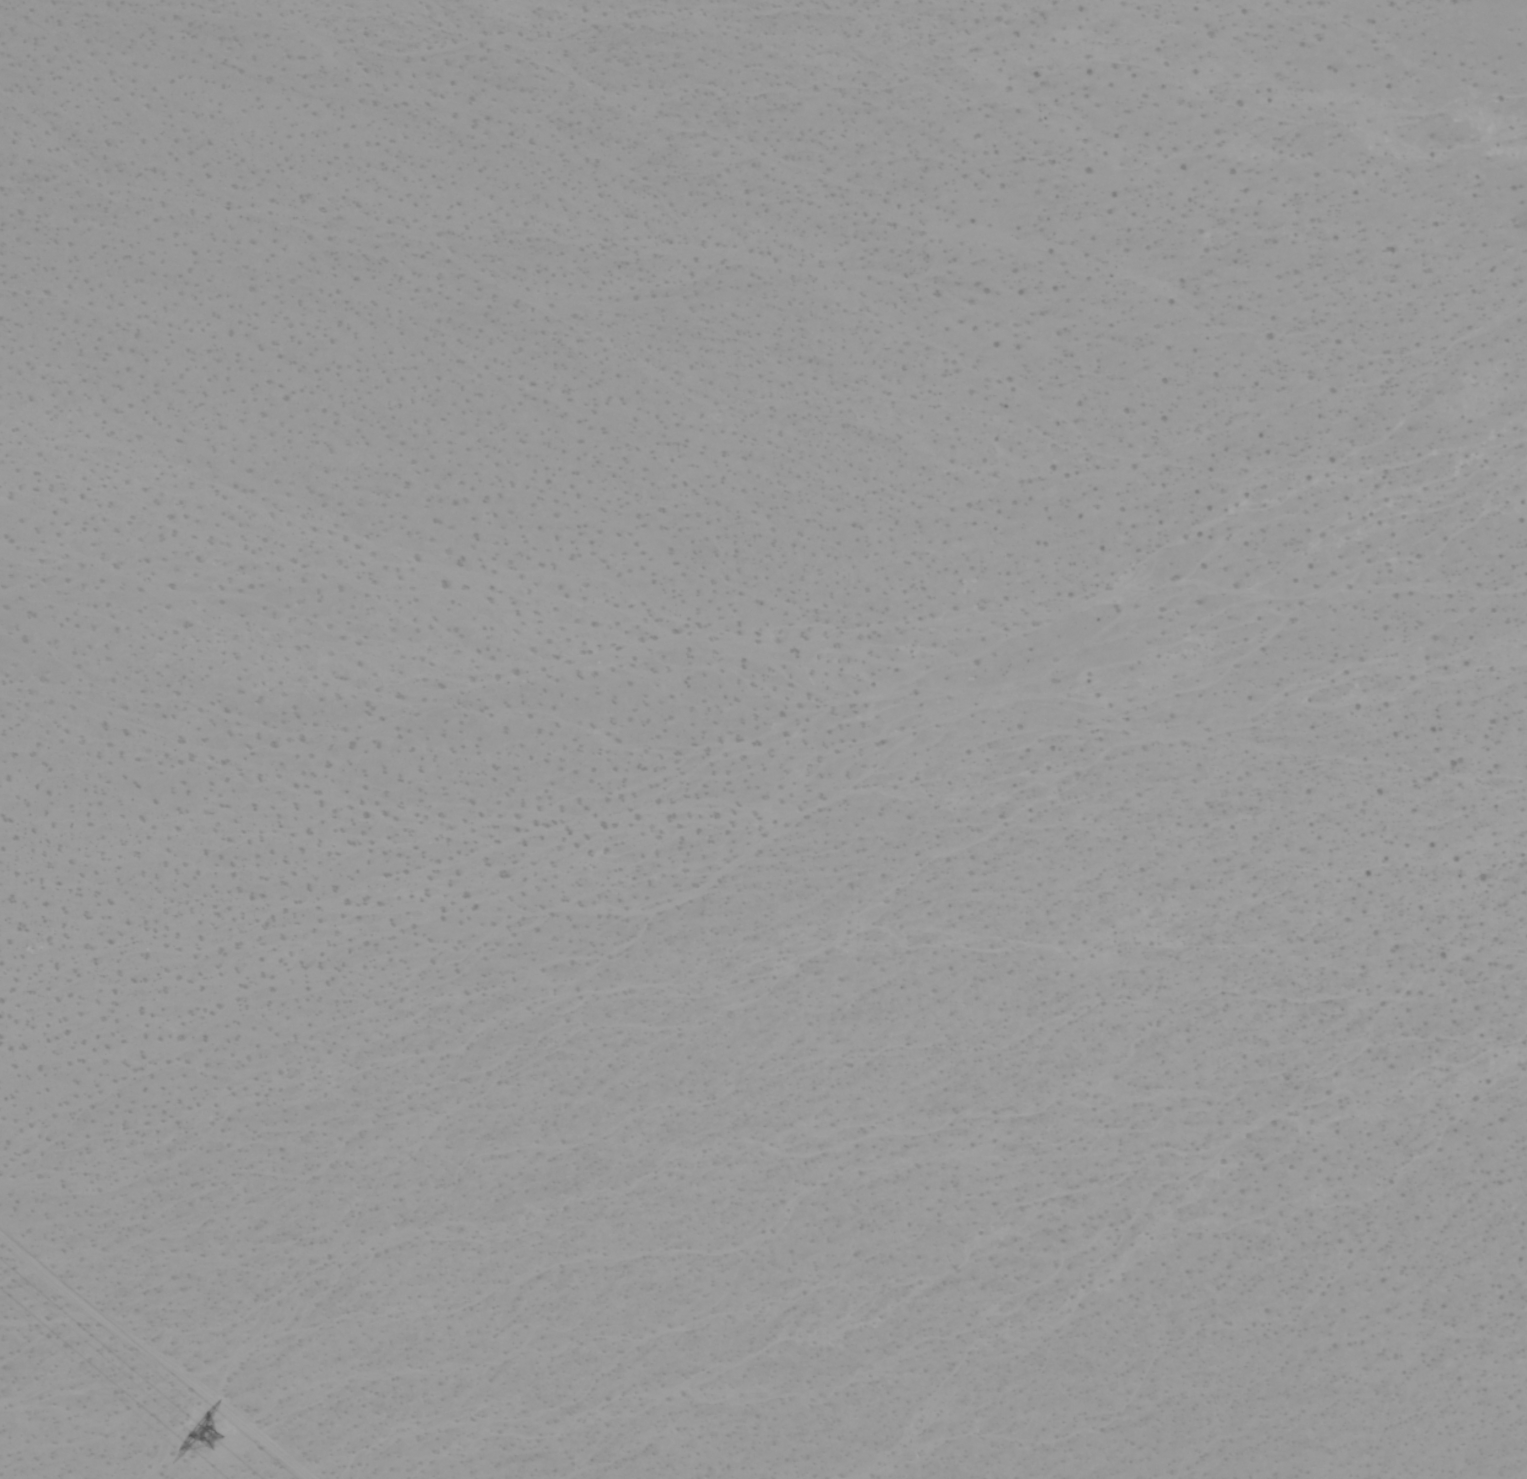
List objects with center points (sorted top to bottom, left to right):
power tower: (217, 1439)

